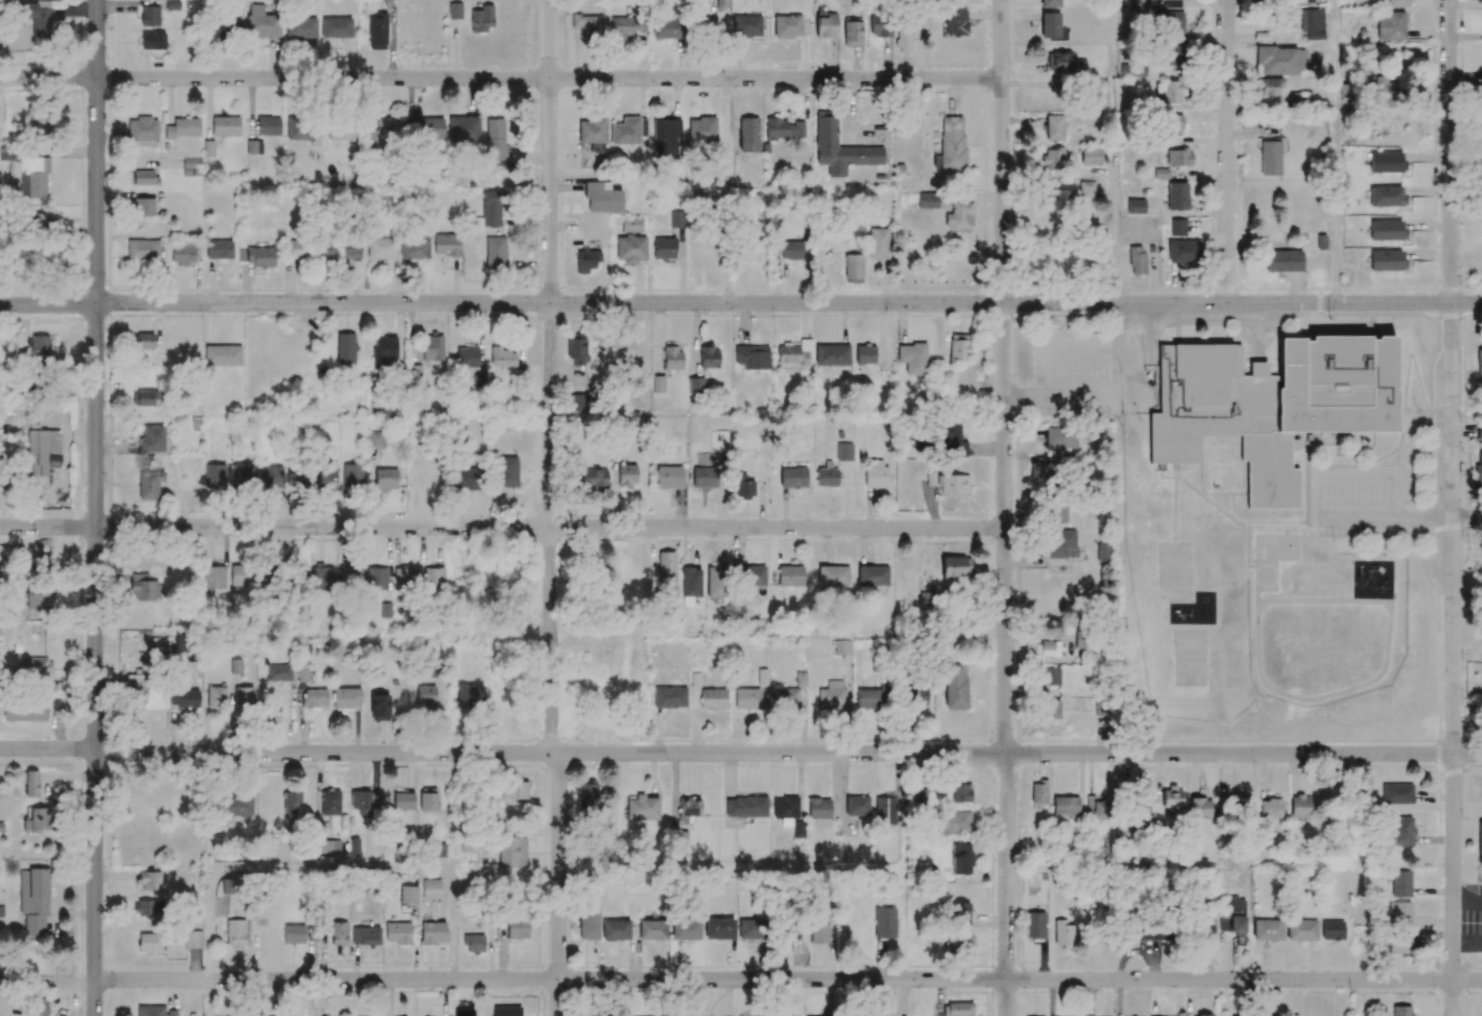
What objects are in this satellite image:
park: (2, 0)
building: (1479, 1)
building: (1050, 3)
building: (1171, 3)
building: (1397, 3)
building: (722, 4)
building: (1135, 4)
building: (454, 10)
building: (149, 15)
building: (37, 16)
building: (482, 18)
building: (955, 21)
building: (261, 22)
building: (825, 23)
building: (879, 23)
building: (1312, 23)
building: (587, 25)
building: (1050, 25)
building: (1390, 25)
building: (746, 26)
building: (787, 26)
building: (1174, 26)
building: (225, 27)
building: (301, 27)
building: (336, 27)
building: (626, 27)
building: (668, 28)
building: (852, 31)
building: (377, 32)
building: (903, 39)
building: (153, 40)
building: (1171, 55)
building: (1280, 60)
building: (1060, 61)
building: (1133, 70)
road: (500, 78)
building: (1270, 86)
building: (1170, 91)
building: (1386, 93)
building: (1299, 99)
building: (1100, 100)
building: (40, 125)
building: (1175, 125)
building: (225, 126)
building: (268, 126)
building: (1055, 127)
building: (182, 128)
building: (463, 128)
building: (142, 129)
building: (299, 129)
building: (430, 129)
building: (702, 129)
building: (784, 129)
building: (592, 130)
building: (628, 131)
building: (386, 132)
building: (340, 133)
building: (749, 134)
building: (666, 138)
building: (495, 139)
building: (952, 143)
building: (254, 147)
building: (840, 148)
road: (1226, 151)
road: (97, 152)
building: (1091, 156)
building: (1178, 157)
building: (1270, 157)
building: (1053, 159)
building: (1385, 162)
building: (191, 166)
building: (1161, 173)
building: (30, 176)
building: (142, 178)
building: (1086, 189)
building: (1058, 190)
road: (725, 191)
building: (1177, 195)
building: (1386, 196)
building: (602, 198)
building: (700, 198)
building: (928, 200)
building: (143, 206)
building: (1135, 206)
building: (491, 208)
building: (960, 214)
building: (677, 219)
building: (40, 222)
building: (631, 225)
building: (1177, 227)
building: (1386, 230)
building: (879, 243)
building: (446, 244)
building: (381, 248)
building: (414, 248)
building: (630, 248)
building: (664, 248)
building: (143, 249)
building: (218, 249)
building: (297, 249)
building: (351, 250)
building: (792, 250)
building: (183, 252)
building: (495, 252)
building: (1182, 252)
building: (255, 256)
building: (586, 260)
building: (1137, 260)
building: (1282, 260)
building: (1386, 260)
building: (853, 266)
road: (789, 303)
road: (48, 305)
building: (143, 341)
building: (41, 344)
building: (432, 347)
building: (959, 347)
building: (345, 348)
building: (576, 348)
road: (1061, 349)
building: (383, 351)
building: (794, 353)
building: (865, 354)
building: (222, 355)
building: (832, 355)
building: (466, 356)
building: (708, 356)
building: (501, 357)
building: (672, 357)
building: (752, 357)
building: (913, 358)
building: (1479, 363)
building: (479, 381)
building: (658, 384)
building: (696, 385)
building: (144, 398)
building: (578, 402)
building: (1269, 404)
building: (1479, 430)
building: (1060, 437)
building: (951, 438)
building: (151, 439)
building: (375, 440)
building: (719, 441)
building: (40, 450)
building: (844, 452)
building: (705, 459)
building: (1478, 464)
building: (1041, 470)
building: (507, 471)
building: (876, 473)
building: (214, 475)
building: (242, 475)
building: (352, 475)
building: (626, 475)
building: (827, 475)
building: (296, 476)
building: (271, 477)
building: (326, 477)
building: (593, 477)
building: (668, 477)
building: (704, 477)
building: (793, 477)
building: (2, 479)
building: (385, 479)
building: (466, 479)
building: (149, 484)
building: (949, 484)
building: (747, 490)
road: (1319, 504)
road: (1004, 507)
road: (1452, 507)
road: (550, 509)
building: (1057, 512)
road: (1467, 517)
road: (502, 527)
building: (1061, 543)
building: (1103, 552)
building: (40, 562)
building: (666, 566)
building: (955, 567)
building: (300, 574)
building: (241, 575)
building: (267, 575)
building: (347, 575)
building: (790, 575)
building: (872, 575)
building: (753, 576)
building: (833, 576)
building: (214, 577)
building: (322, 577)
building: (405, 577)
building: (376, 578)
building: (433, 579)
building: (715, 582)
building: (689, 585)
building: (144, 588)
building: (38, 597)
building: (926, 599)
building: (385, 610)
building: (1082, 638)
building: (842, 647)
building: (1051, 648)
road: (95, 659)
building: (236, 666)
building: (35, 667)
building: (279, 672)
building: (302, 675)
building: (1050, 676)
building: (762, 677)
building: (801, 679)
building: (886, 686)
building: (955, 686)
building: (144, 692)
building: (919, 694)
building: (470, 695)
building: (832, 695)
building: (426, 696)
building: (183, 697)
building: (243, 697)
building: (347, 697)
building: (669, 697)
building: (216, 698)
building: (314, 698)
building: (747, 698)
building: (785, 698)
building: (713, 699)
building: (867, 699)
building: (379, 706)
building: (1102, 706)
building: (1052, 709)
building: (25, 712)
road: (740, 753)
building: (31, 783)
building: (514, 790)
building: (1039, 792)
building: (961, 793)
building: (1396, 794)
building: (587, 796)
building: (920, 797)
building: (403, 799)
building: (428, 799)
building: (1175, 801)
building: (330, 802)
building: (361, 802)
building: (291, 804)
building: (236, 805)
building: (857, 805)
building: (1236, 805)
building: (690, 806)
building: (746, 806)
building: (1299, 806)
building: (785, 807)
building: (1066, 807)
building: (1200, 807)
building: (642, 808)
building: (818, 808)
building: (1097, 808)
building: (1269, 808)
building: (885, 811)
building: (1139, 812)
building: (38, 820)
building: (953, 822)
building: (1, 827)
building: (798, 830)
building: (1401, 831)
building: (680, 839)
building: (1480, 842)
building: (328, 846)
building: (355, 846)
building: (440, 850)
building: (512, 852)
building: (961, 859)
building: (150, 880)
building: (1400, 884)
building: (228, 886)
building: (431, 889)
building: (408, 894)
building: (34, 902)
building: (148, 907)
building: (960, 911)
building: (1399, 913)
building: (885, 922)
building: (1232, 922)
building: (588, 925)
building: (1035, 925)
building: (719, 928)
building: (1209, 928)
building: (516, 929)
building: (652, 929)
building: (751, 929)
building: (819, 929)
building: (1267, 929)
building: (615, 930)
building: (685, 930)
building: (1154, 930)
building: (1301, 930)
building: (1332, 930)
building: (397, 932)
building: (433, 932)
building: (293, 934)
building: (339, 934)
building: (1064, 934)
building: (235, 935)
building: (365, 935)
building: (193, 939)
building: (967, 942)
building: (148, 943)
building: (474, 944)
building: (1398, 944)
road: (740, 980)
road: (208, 998)
building: (39, 1007)
building: (958, 1009)
building: (154, 1011)
building: (506, 1011)
building: (1400, 1011)
building: (463, 1013)
building: (1203, 1015)

